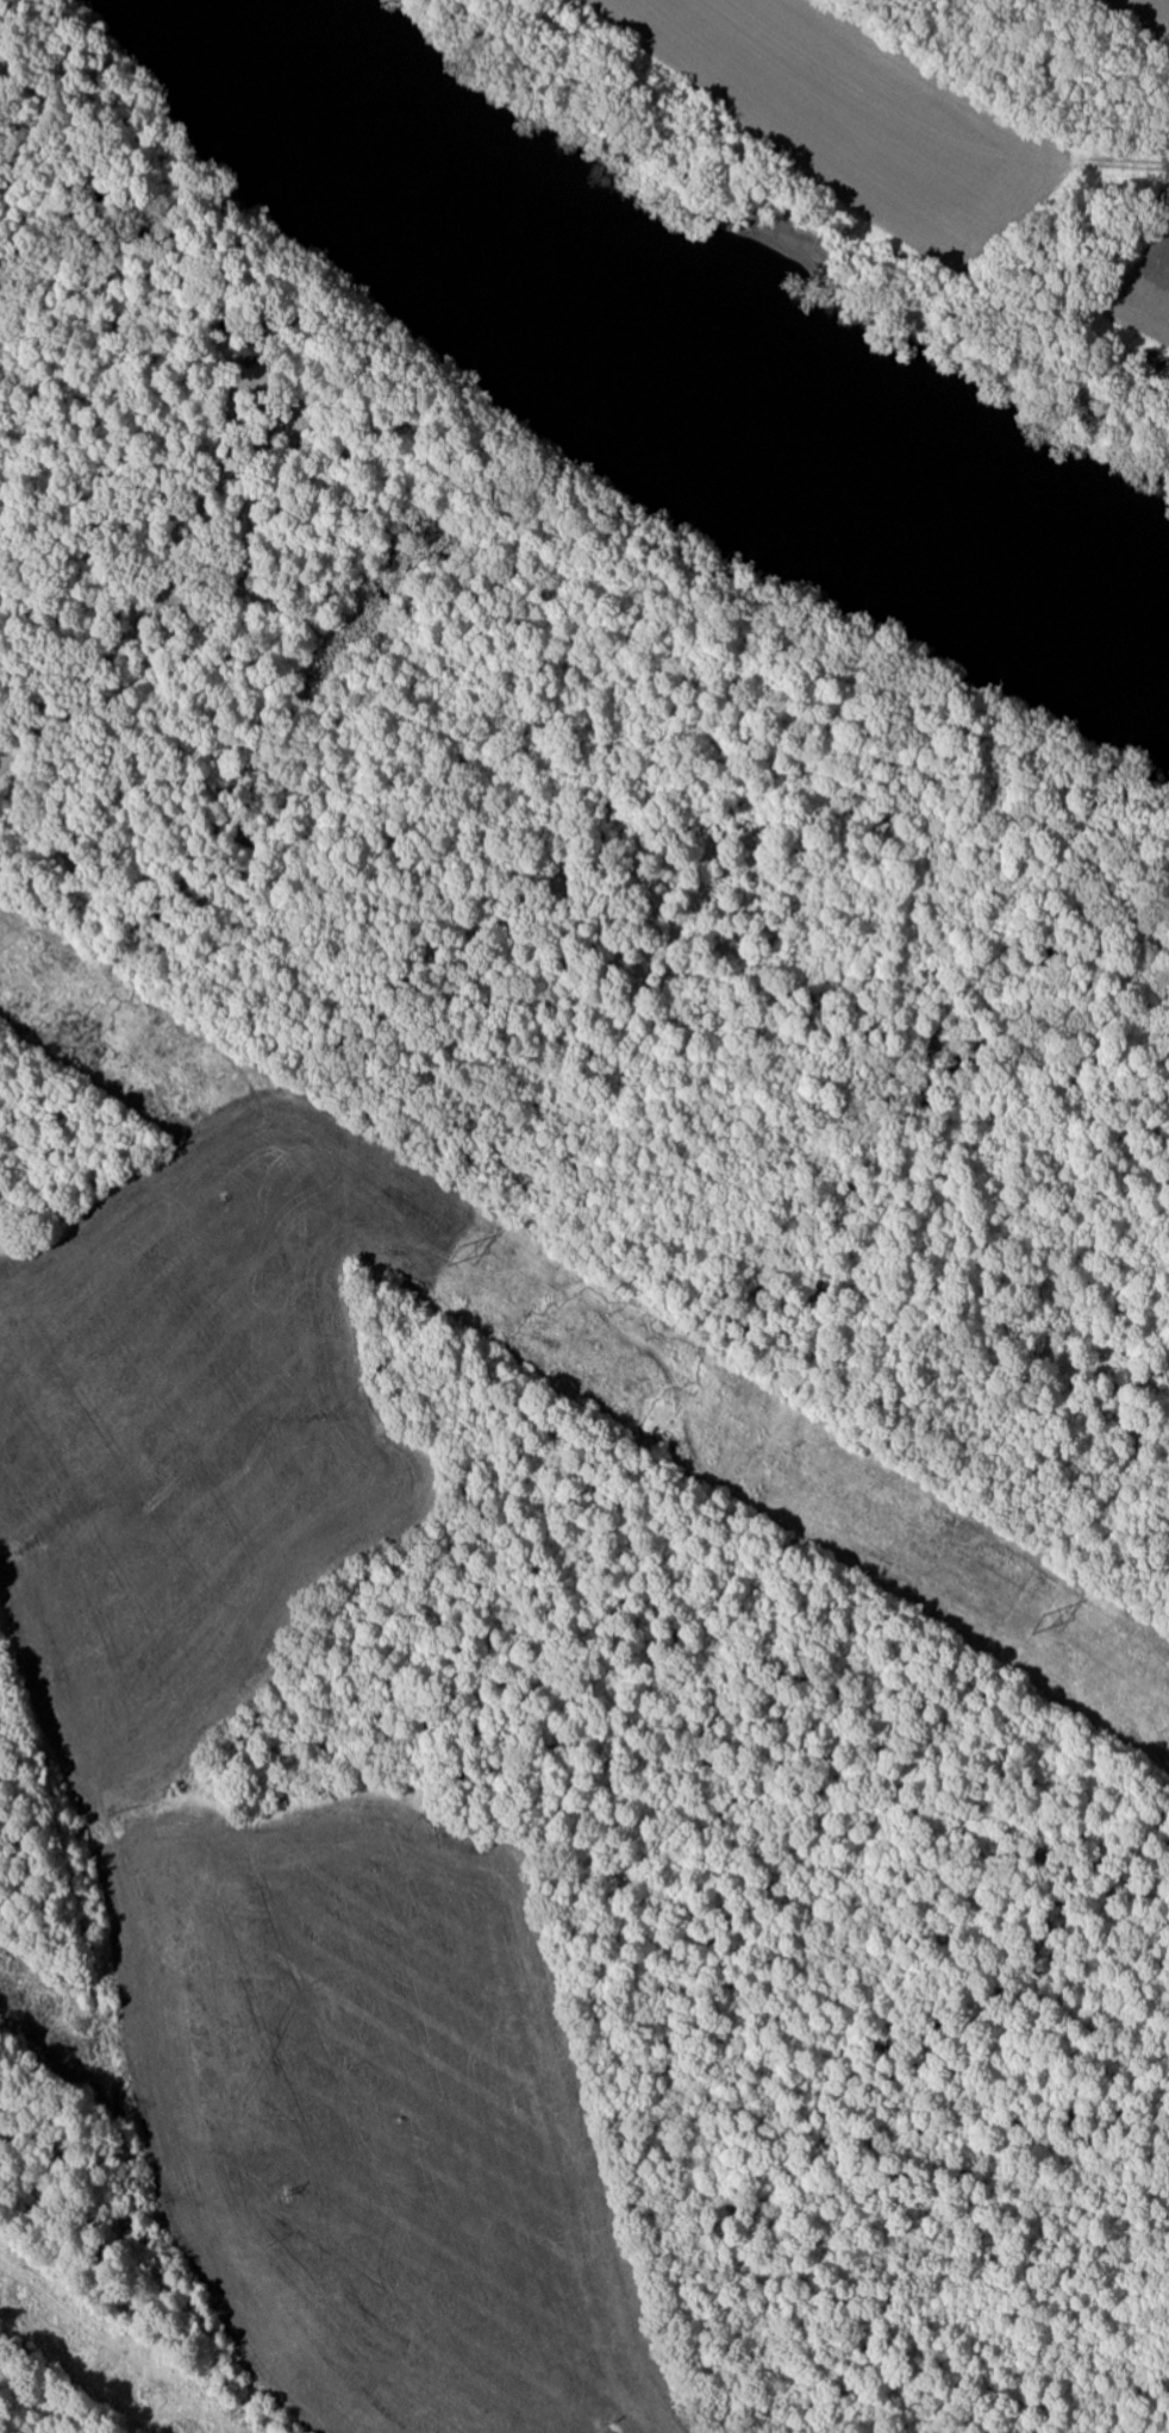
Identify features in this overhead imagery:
river: (665, 338)
power tower: (456, 1258)
power tower: (1040, 1625)

